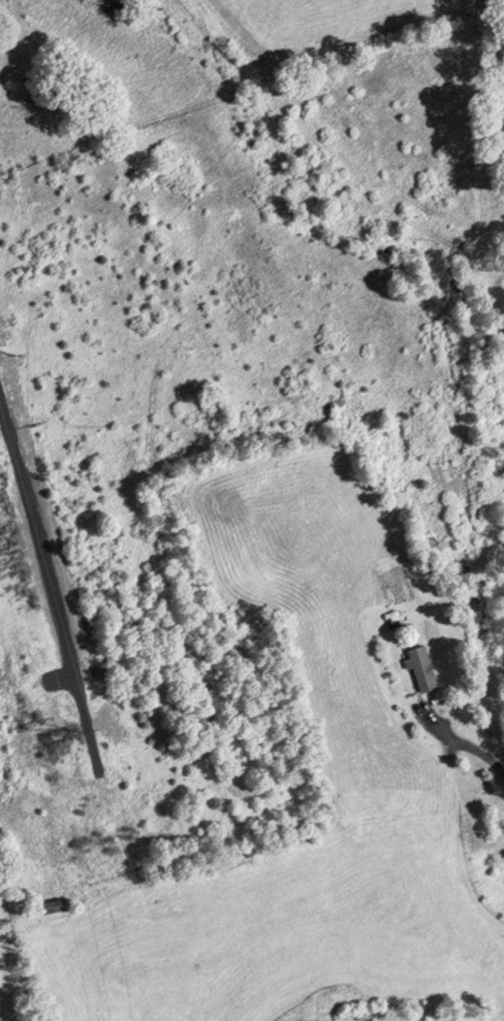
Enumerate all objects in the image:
building: (419, 668)
road: (462, 742)
power tower: (73, 747)

